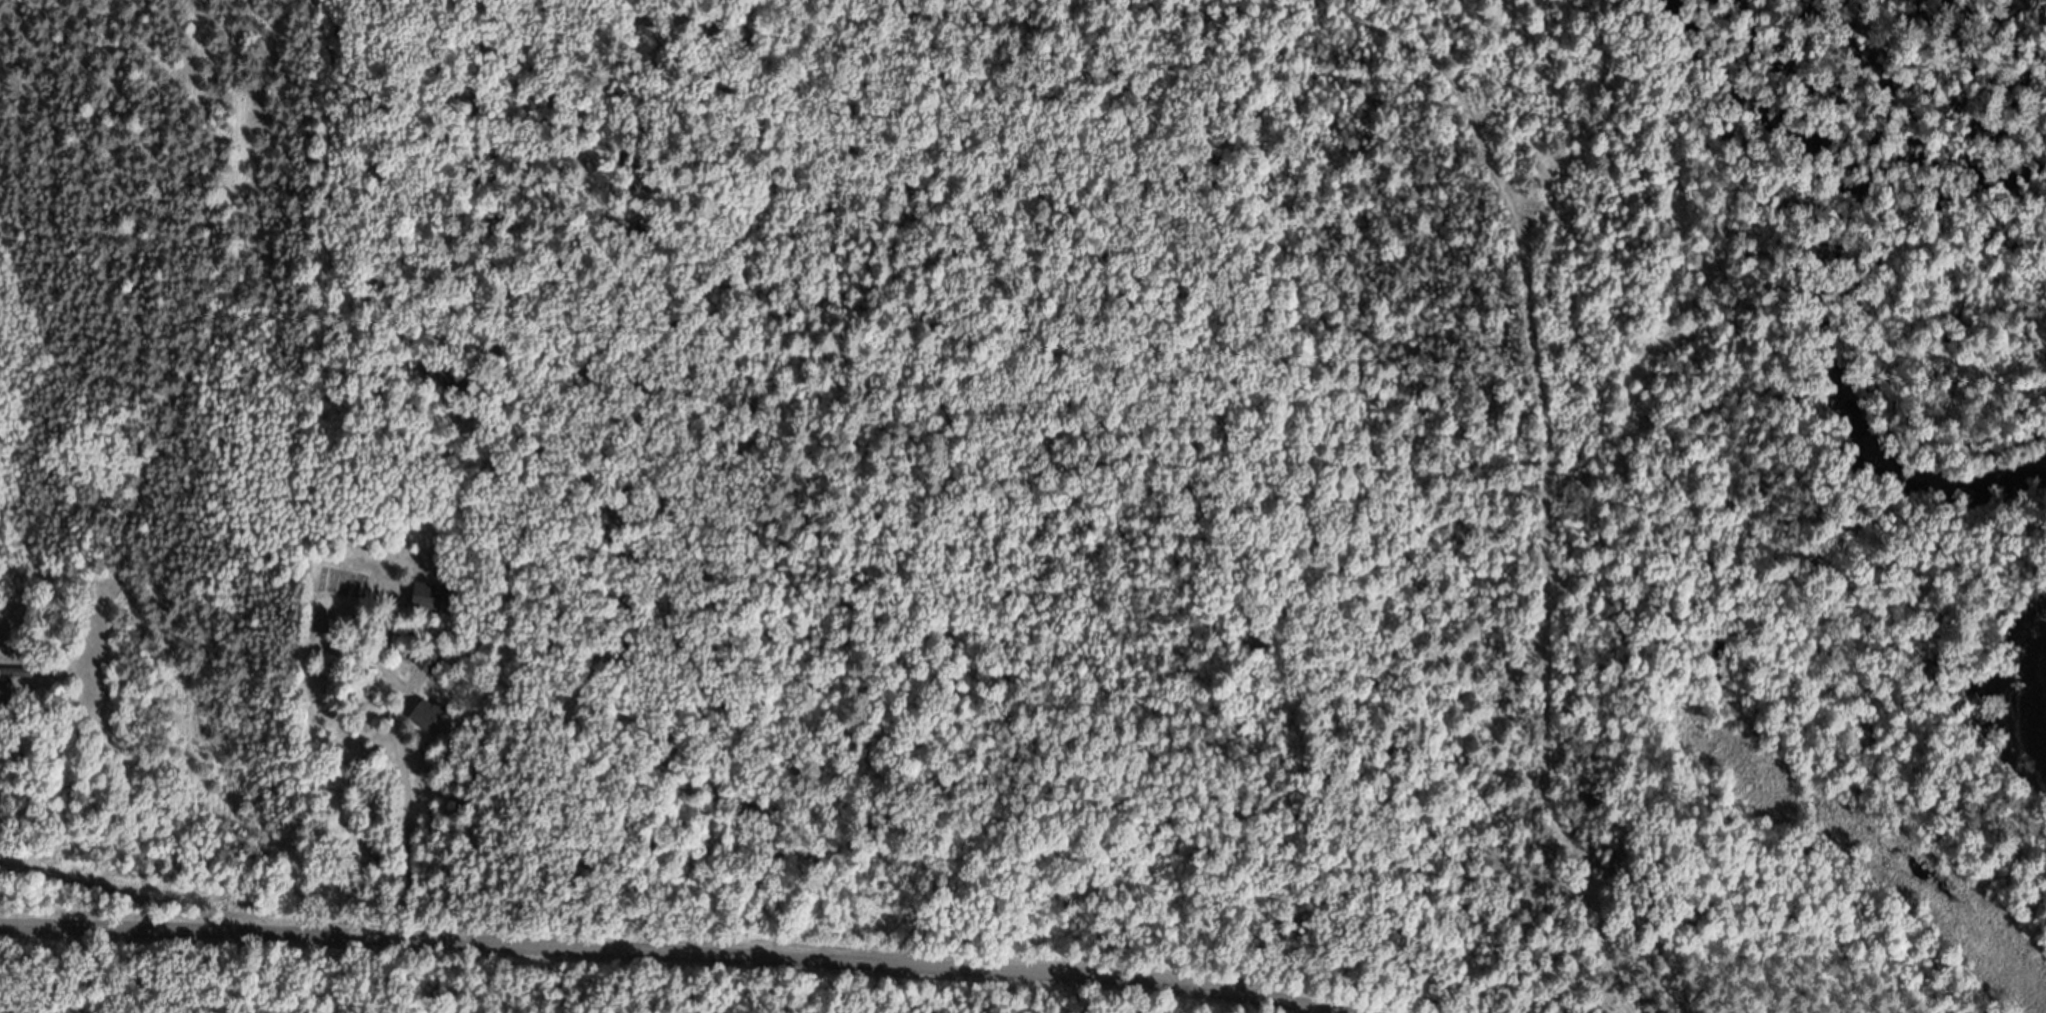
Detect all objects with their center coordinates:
building: (435, 605)
building: (433, 669)
building: (19, 682)
building: (430, 722)
road: (675, 955)

